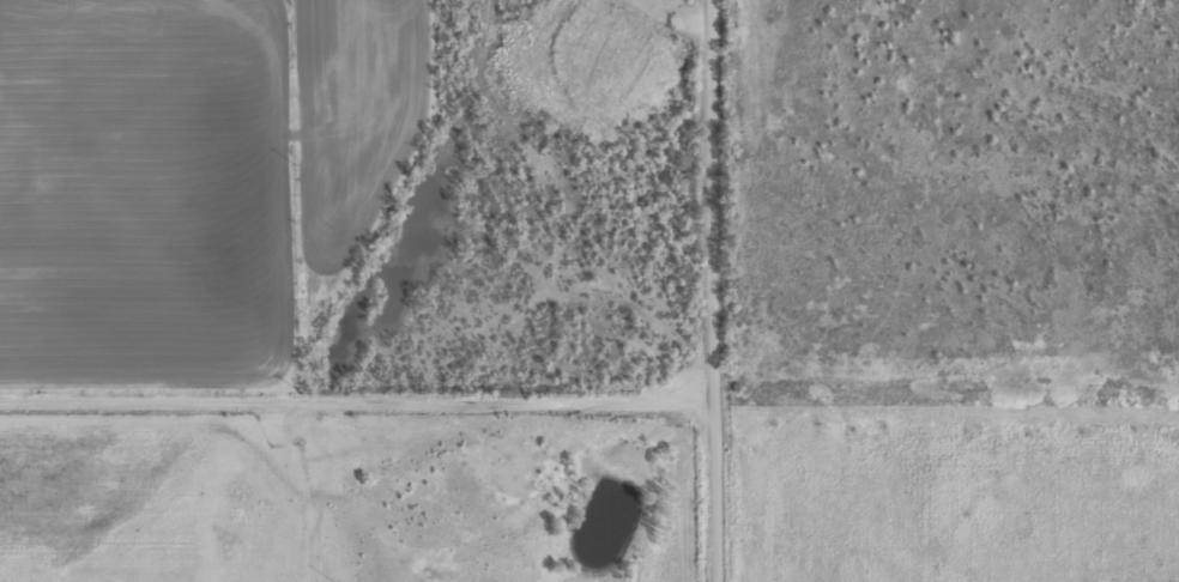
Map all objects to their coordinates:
road: (882, 183)
road: (762, 290)
road: (784, 360)
road: (381, 366)
road: (992, 369)

